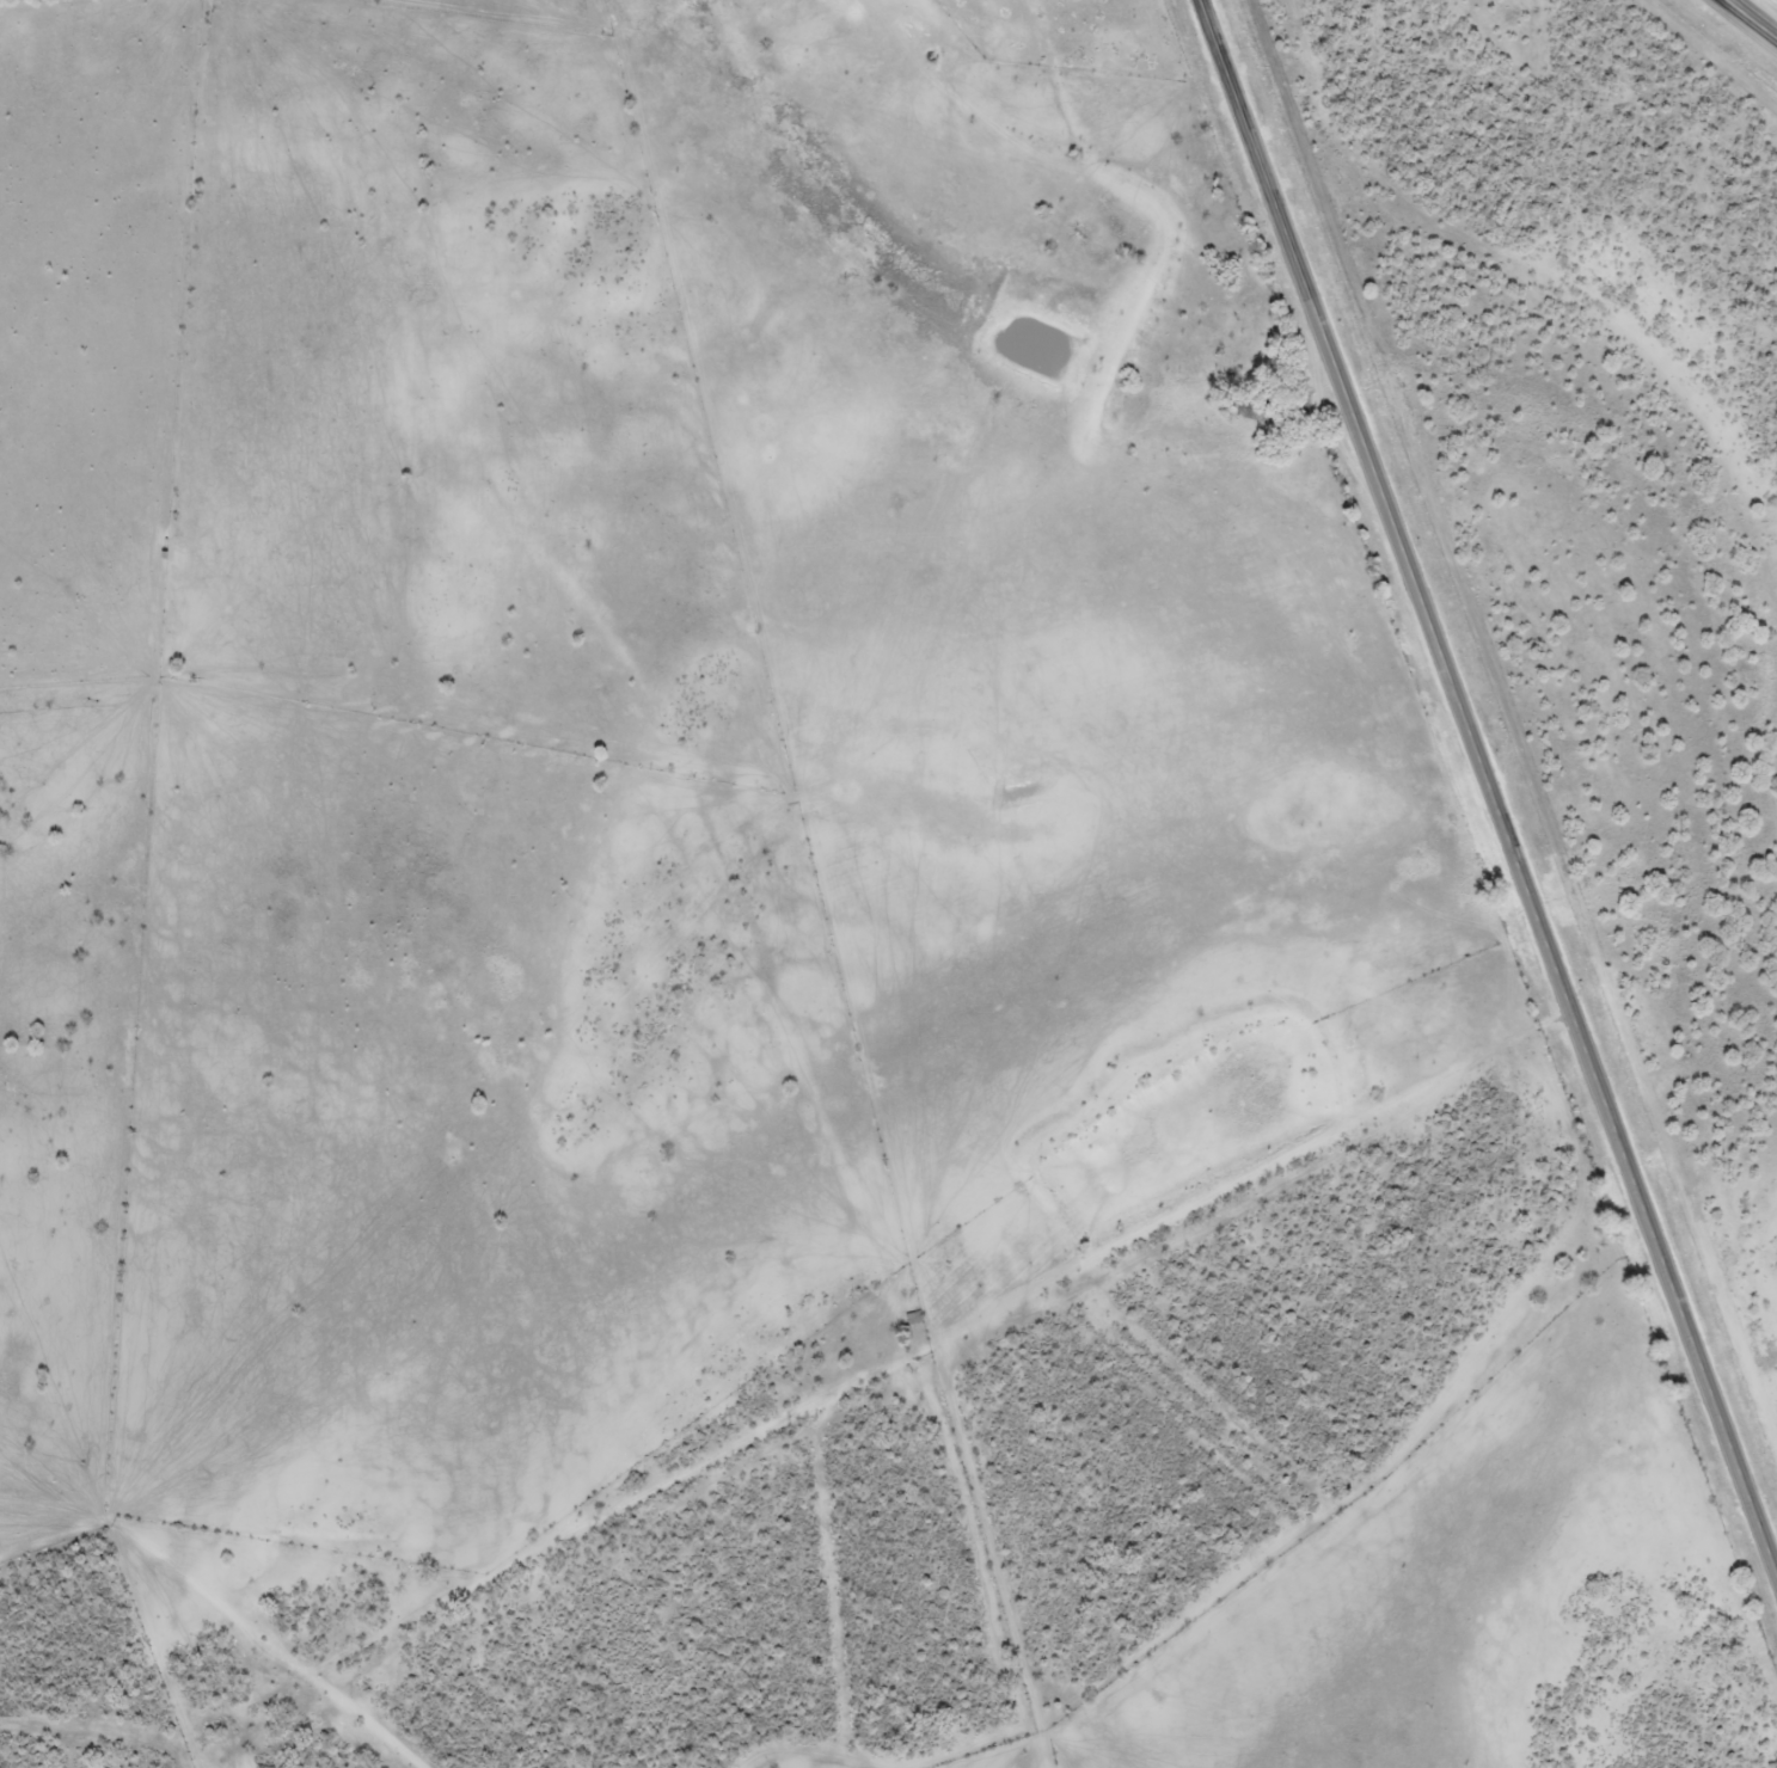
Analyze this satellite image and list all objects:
road: (1754, 17)
railway: (1717, 50)
road: (1490, 792)

